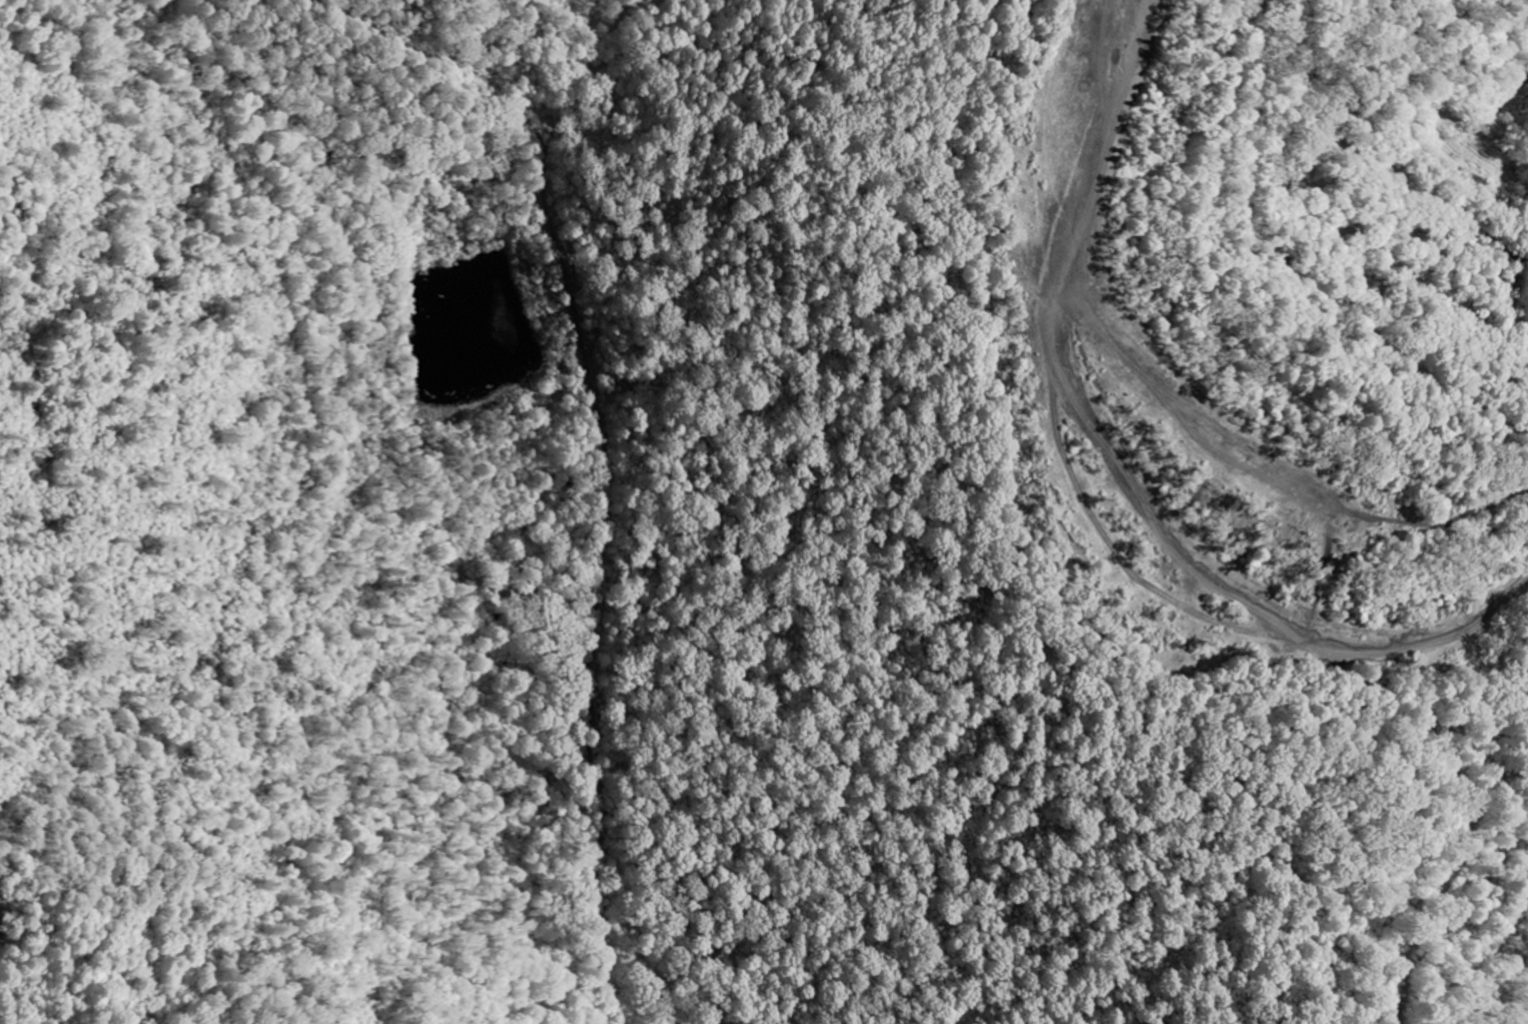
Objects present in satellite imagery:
road: (1114, 473)

